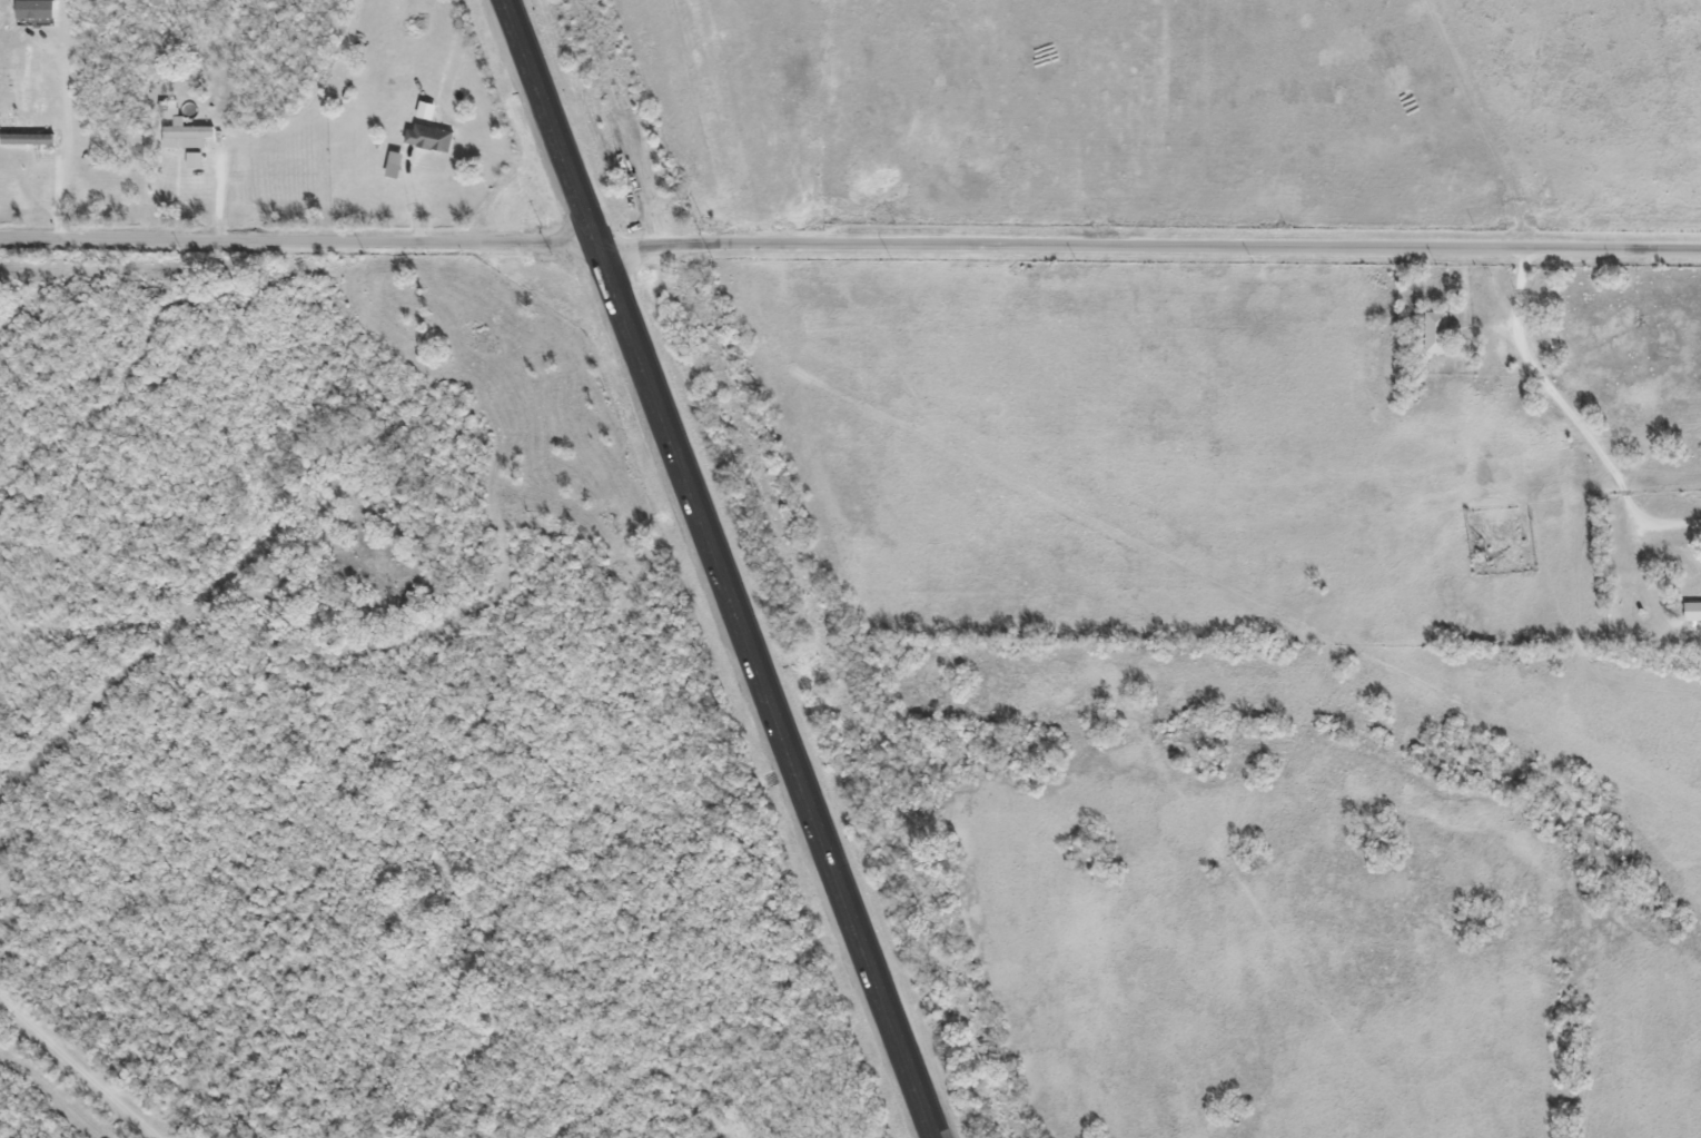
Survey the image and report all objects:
building: (428, 137)
road: (299, 238)
road: (1149, 245)
building: (1434, 330)
road: (1579, 416)
road: (722, 568)
building: (1691, 610)

